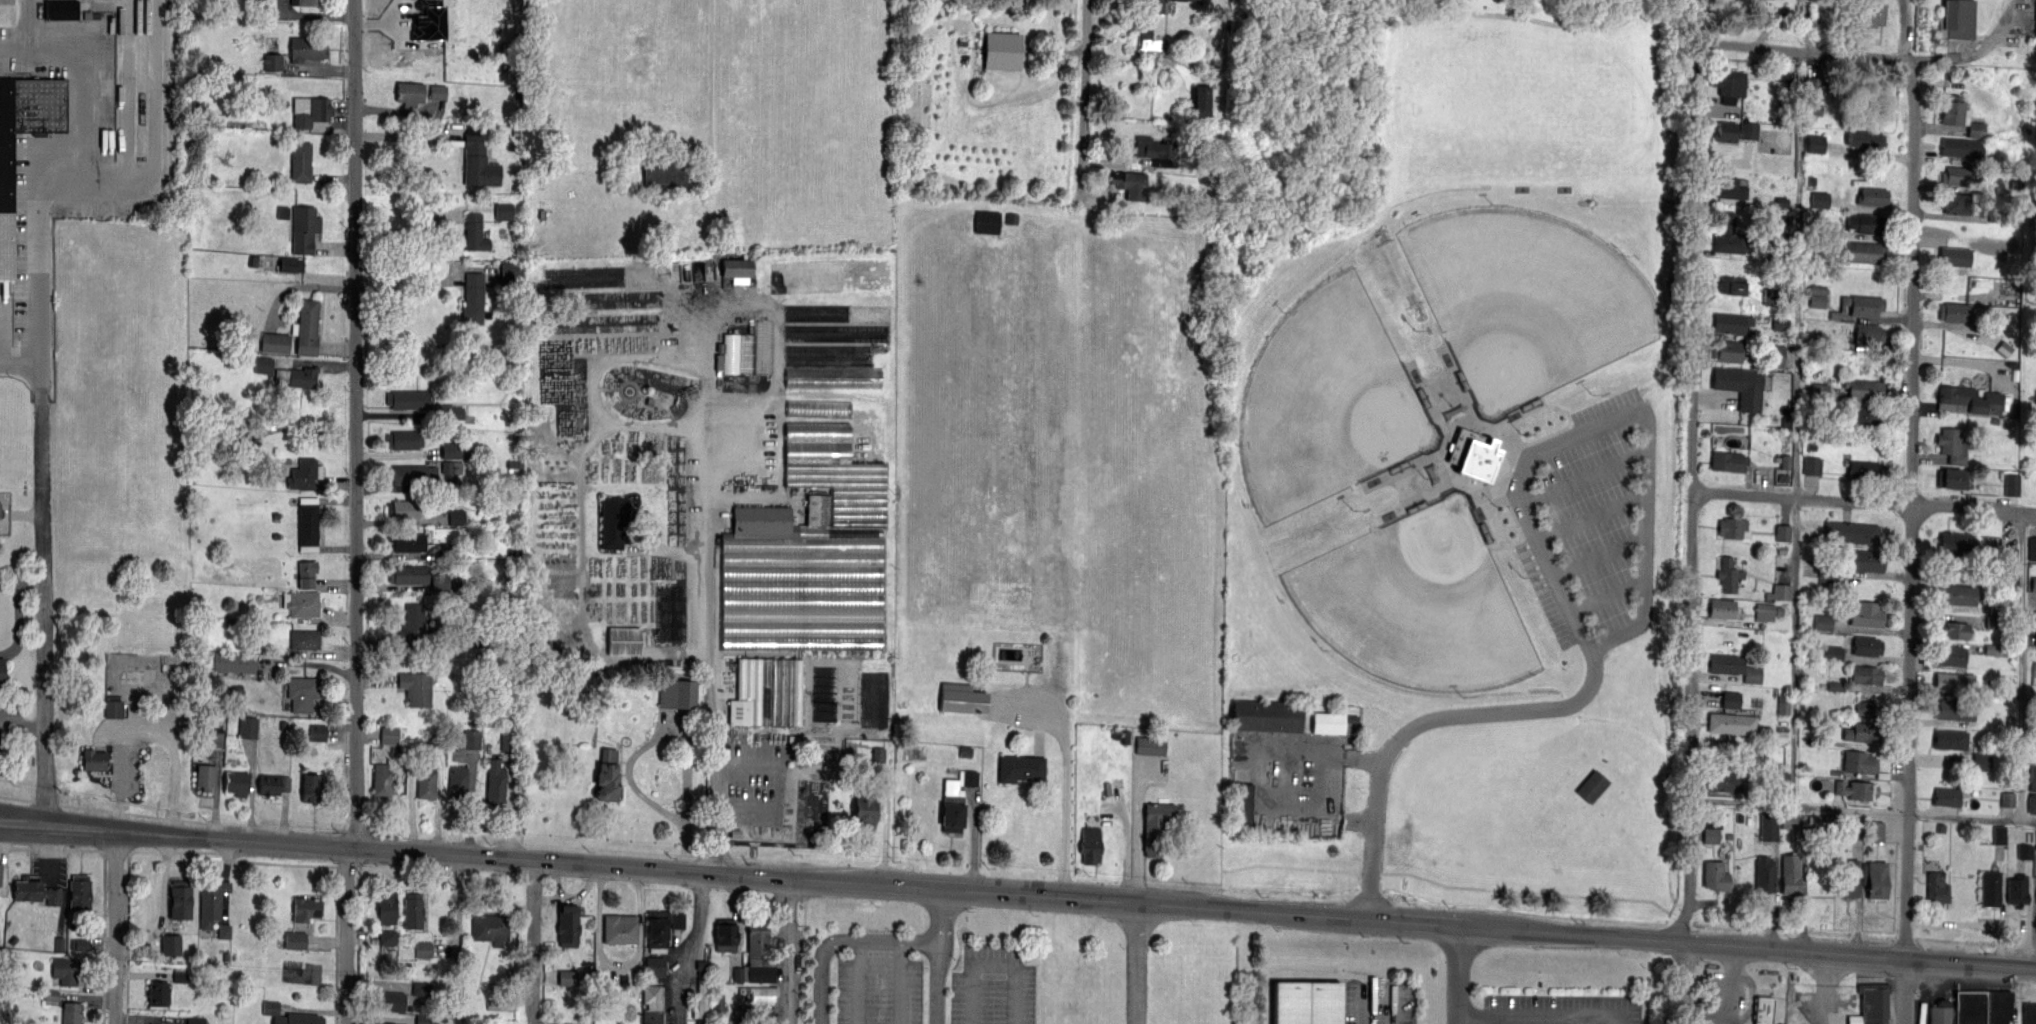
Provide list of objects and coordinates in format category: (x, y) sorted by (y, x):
building: (1190, 0)
building: (304, 2)
building: (1151, 6)
building: (61, 9)
park: (1527, 9)
building: (1869, 12)
building: (1958, 18)
building: (428, 20)
building: (1149, 44)
building: (307, 48)
building: (1002, 50)
road: (1978, 50)
road: (1806, 52)
building: (272, 62)
road: (710, 67)
building: (1728, 84)
building: (1866, 87)
building: (106, 88)
building: (1812, 88)
building: (409, 92)
building: (438, 92)
building: (1201, 100)
road: (1083, 103)
building: (1813, 110)
building: (314, 112)
building: (1958, 115)
building: (1736, 131)
building: (1865, 140)
building: (1816, 143)
building: (1963, 148)
building: (1155, 150)
building: (477, 159)
building: (300, 161)
building: (665, 173)
road: (65, 174)
building: (1957, 175)
building: (1130, 184)
building: (1730, 187)
building: (1873, 197)
building: (1820, 199)
building: (1955, 203)
building: (6, 207)
building: (503, 211)
building: (987, 221)
building: (1866, 223)
building: (304, 228)
building: (475, 232)
building: (1728, 235)
building: (1864, 251)
building: (1954, 257)
building: (291, 264)
building: (737, 270)
building: (512, 272)
building: (1732, 284)
road: (406, 286)
building: (1817, 296)
building: (474, 298)
building: (1863, 304)
park: (1528, 305)
building: (1953, 311)
building: (1730, 322)
building: (306, 327)
building: (1868, 333)
building: (274, 342)
building: (1726, 350)
building: (854, 352)
building: (728, 354)
building: (753, 356)
building: (1776, 356)
building: (263, 365)
building: (297, 375)
building: (833, 377)
building: (1739, 385)
building: (1862, 389)
building: (408, 398)
building: (1969, 400)
park: (1333, 404)
building: (818, 408)
building: (450, 412)
building: (1867, 415)
road: (1599, 421)
road: (356, 424)
building: (404, 439)
building: (1952, 445)
building: (452, 450)
building: (1477, 459)
building: (1727, 461)
building: (1812, 465)
building: (1865, 470)
building: (305, 473)
building: (412, 473)
building: (1951, 479)
building: (2012, 485)
road: (1693, 490)
road: (1864, 503)
road: (1914, 504)
building: (404, 508)
building: (456, 515)
building: (613, 521)
building: (307, 523)
building: (1732, 528)
building: (1851, 531)
building: (1783, 533)
building: (407, 542)
building: (1955, 545)
building: (2032, 549)
building: (808, 552)
building: (2011, 557)
building: (1865, 560)
building: (305, 573)
building: (408, 573)
building: (1729, 574)
building: (2033, 583)
building: (440, 584)
building: (1780, 592)
building: (1956, 595)
building: (301, 602)
park: (1421, 602)
building: (1721, 608)
road: (712, 609)
road: (18, 611)
building: (1767, 611)
road: (44, 613)
building: (671, 614)
building: (1866, 614)
building: (1823, 622)
building: (413, 626)
building: (1959, 632)
building: (304, 639)
building: (624, 641)
building: (2035, 644)
building: (1866, 646)
building: (1994, 650)
road: (1795, 651)
building: (1834, 653)
building: (1949, 655)
building: (235, 662)
building: (1725, 664)
road: (2022, 664)
building: (1, 671)
building: (138, 672)
building: (2034, 673)
building: (1753, 674)
building: (1866, 674)
building: (1953, 682)
building: (1836, 685)
building: (416, 687)
building: (767, 691)
building: (301, 693)
building: (677, 694)
building: (961, 699)
building: (1730, 700)
building: (1783, 705)
building: (113, 708)
building: (1865, 709)
building: (1955, 710)
building: (1266, 716)
road: (1433, 721)
road: (22, 723)
building: (1328, 723)
building: (1731, 723)
parking lot: (12, 725)
building: (248, 727)
building: (1862, 731)
road: (146, 732)
building: (317, 733)
building: (389, 735)
building: (215, 737)
building: (506, 738)
building: (469, 739)
building: (1950, 739)
building: (1150, 745)
road: (634, 754)
building: (93, 759)
road: (773, 762)
building: (1982, 762)
building: (1862, 763)
building: (1020, 767)
building: (606, 775)
building: (205, 776)
building: (2031, 777)
building: (968, 778)
building: (1782, 779)
building: (382, 780)
building: (426, 780)
building: (495, 781)
building: (1723, 781)
building: (235, 782)
building: (458, 782)
building: (272, 784)
building: (311, 786)
building: (1592, 786)
building: (1856, 789)
road: (1066, 791)
building: (1946, 797)
road: (471, 799)
building: (2007, 799)
building: (1244, 803)
road: (1799, 804)
building: (2032, 804)
road: (510, 806)
building: (863, 807)
building: (951, 807)
road: (747, 813)
road: (1972, 816)
building: (1790, 821)
road: (23, 824)
building: (1768, 826)
building: (1154, 827)
road: (885, 830)
road: (1139, 832)
building: (1711, 832)
building: (1875, 832)
building: (1999, 834)
road: (975, 840)
road: (1375, 841)
building: (1089, 845)
building: (2025, 851)
building: (0, 870)
building: (1764, 874)
building: (1790, 874)
building: (1714, 875)
building: (1847, 877)
building: (1875, 879)
building: (1990, 888)
building: (1936, 889)
building: (2017, 889)
building: (36, 891)
building: (79, 892)
road: (1041, 896)
building: (179, 900)
building: (211, 901)
building: (386, 905)
building: (304, 908)
building: (411, 909)
building: (678, 920)
road: (1968, 923)
building: (568, 924)
road: (116, 927)
building: (491, 927)
building: (619, 928)
building: (657, 930)
building: (223, 931)
building: (724, 934)
road: (348, 936)
building: (387, 937)
road: (840, 938)
building: (295, 940)
building: (757, 941)
road: (527, 943)
building: (81, 944)
building: (170, 945)
road: (687, 947)
building: (437, 949)
road: (791, 951)
road: (936, 956)
building: (702, 963)
road: (1137, 963)
road: (995, 964)
building: (655, 965)
building: (65, 970)
building: (760, 972)
road: (1458, 975)
building: (568, 978)
road: (1681, 979)
road: (859, 981)
road: (900, 981)
road: (1826, 984)
parking lot: (993, 986)
road: (1905, 986)
building: (757, 989)
parking lot: (880, 989)
building: (158, 993)
parking lot: (1825, 996)
parking lot: (1729, 997)
building: (386, 1000)
building: (701, 1001)
building: (1307, 1001)
parking lot: (1377, 1001)
building: (718, 1003)
building: (651, 1004)
road: (1363, 1004)
road: (1731, 1004)
building: (1871, 1004)
building: (1997, 1007)
parking lot: (1563, 1008)
building: (1763, 1008)
building: (1959, 1009)
building: (755, 1011)
building: (70, 1012)
building: (2029, 1013)
building: (298, 1018)
road: (1540, 1018)
building: (426, 1019)
building: (196, 1020)
building: (725, 1021)
building: (761, 1022)
building: (382, 1023)

